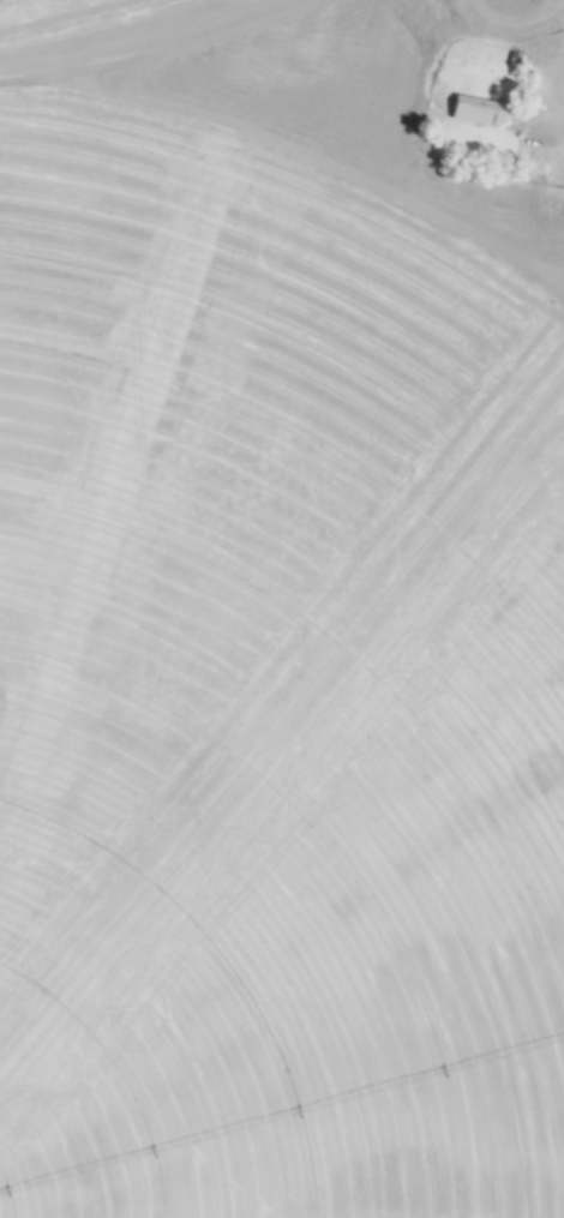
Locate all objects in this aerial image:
building: (470, 110)

